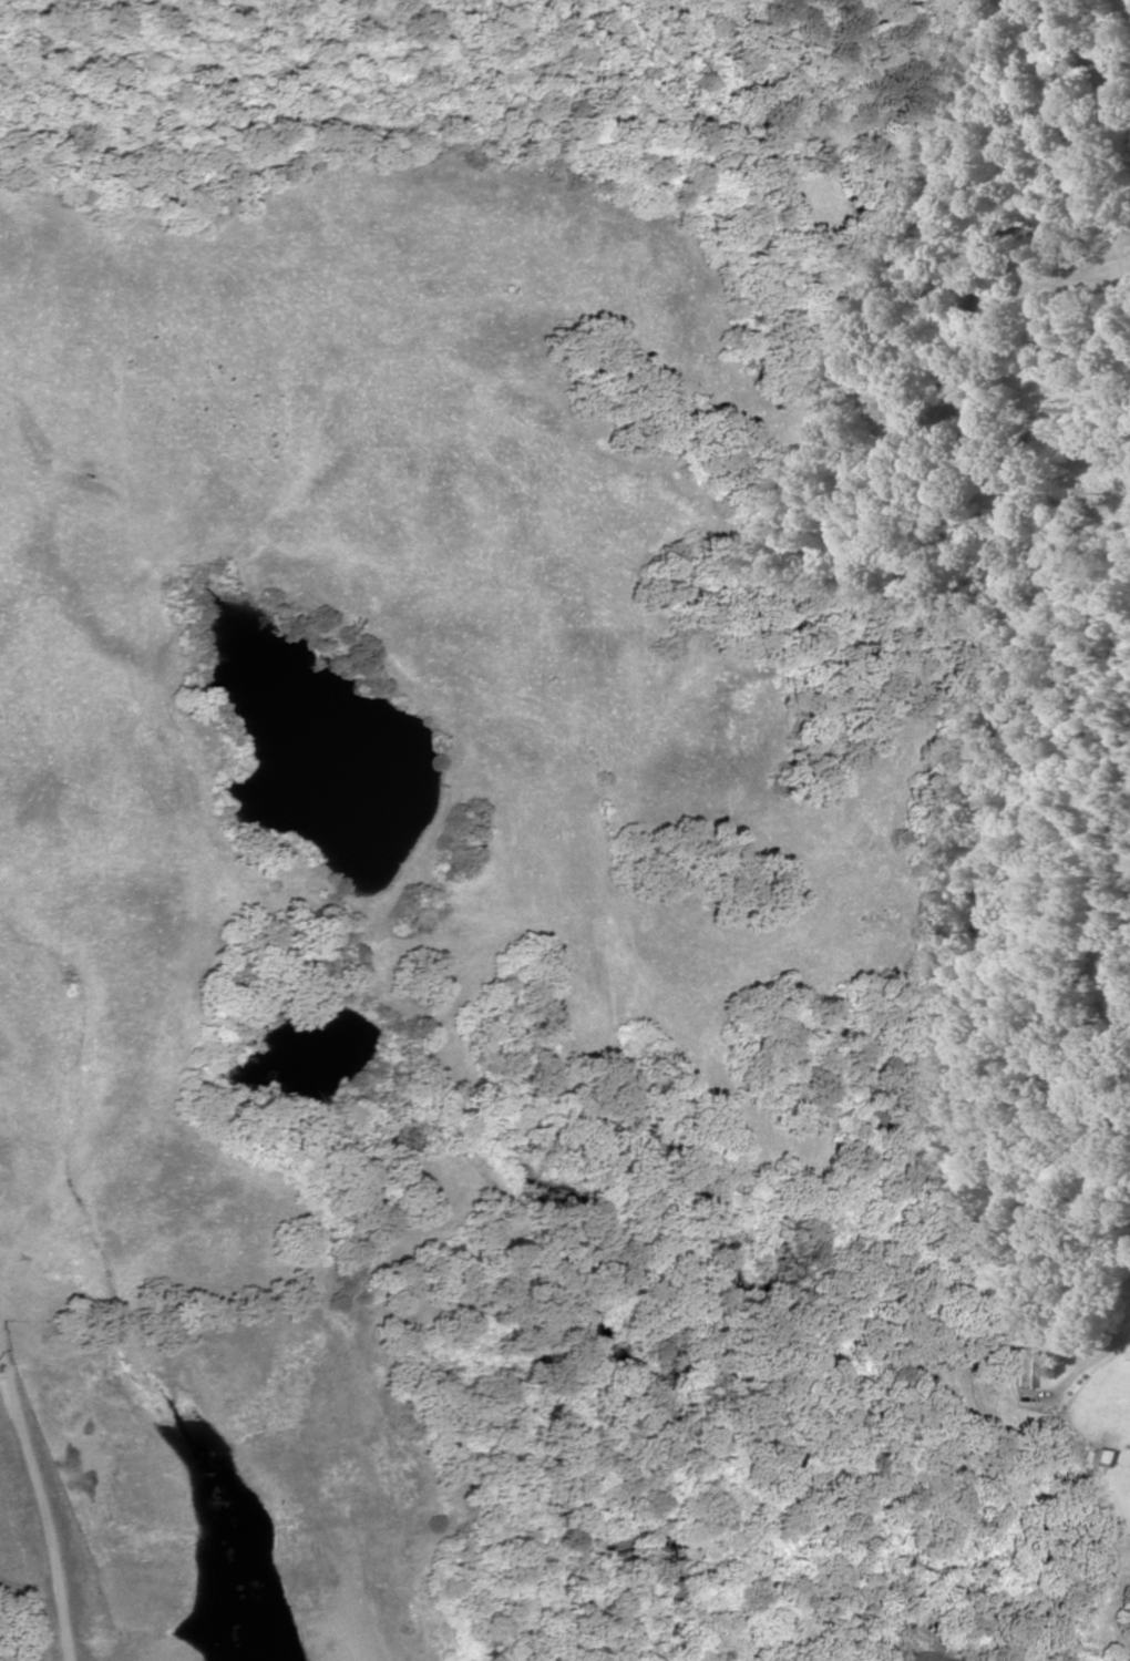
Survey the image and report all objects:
building: (1117, 984)
building: (1099, 1013)
building: (1021, 1368)
building: (951, 1393)
building: (1105, 1475)

